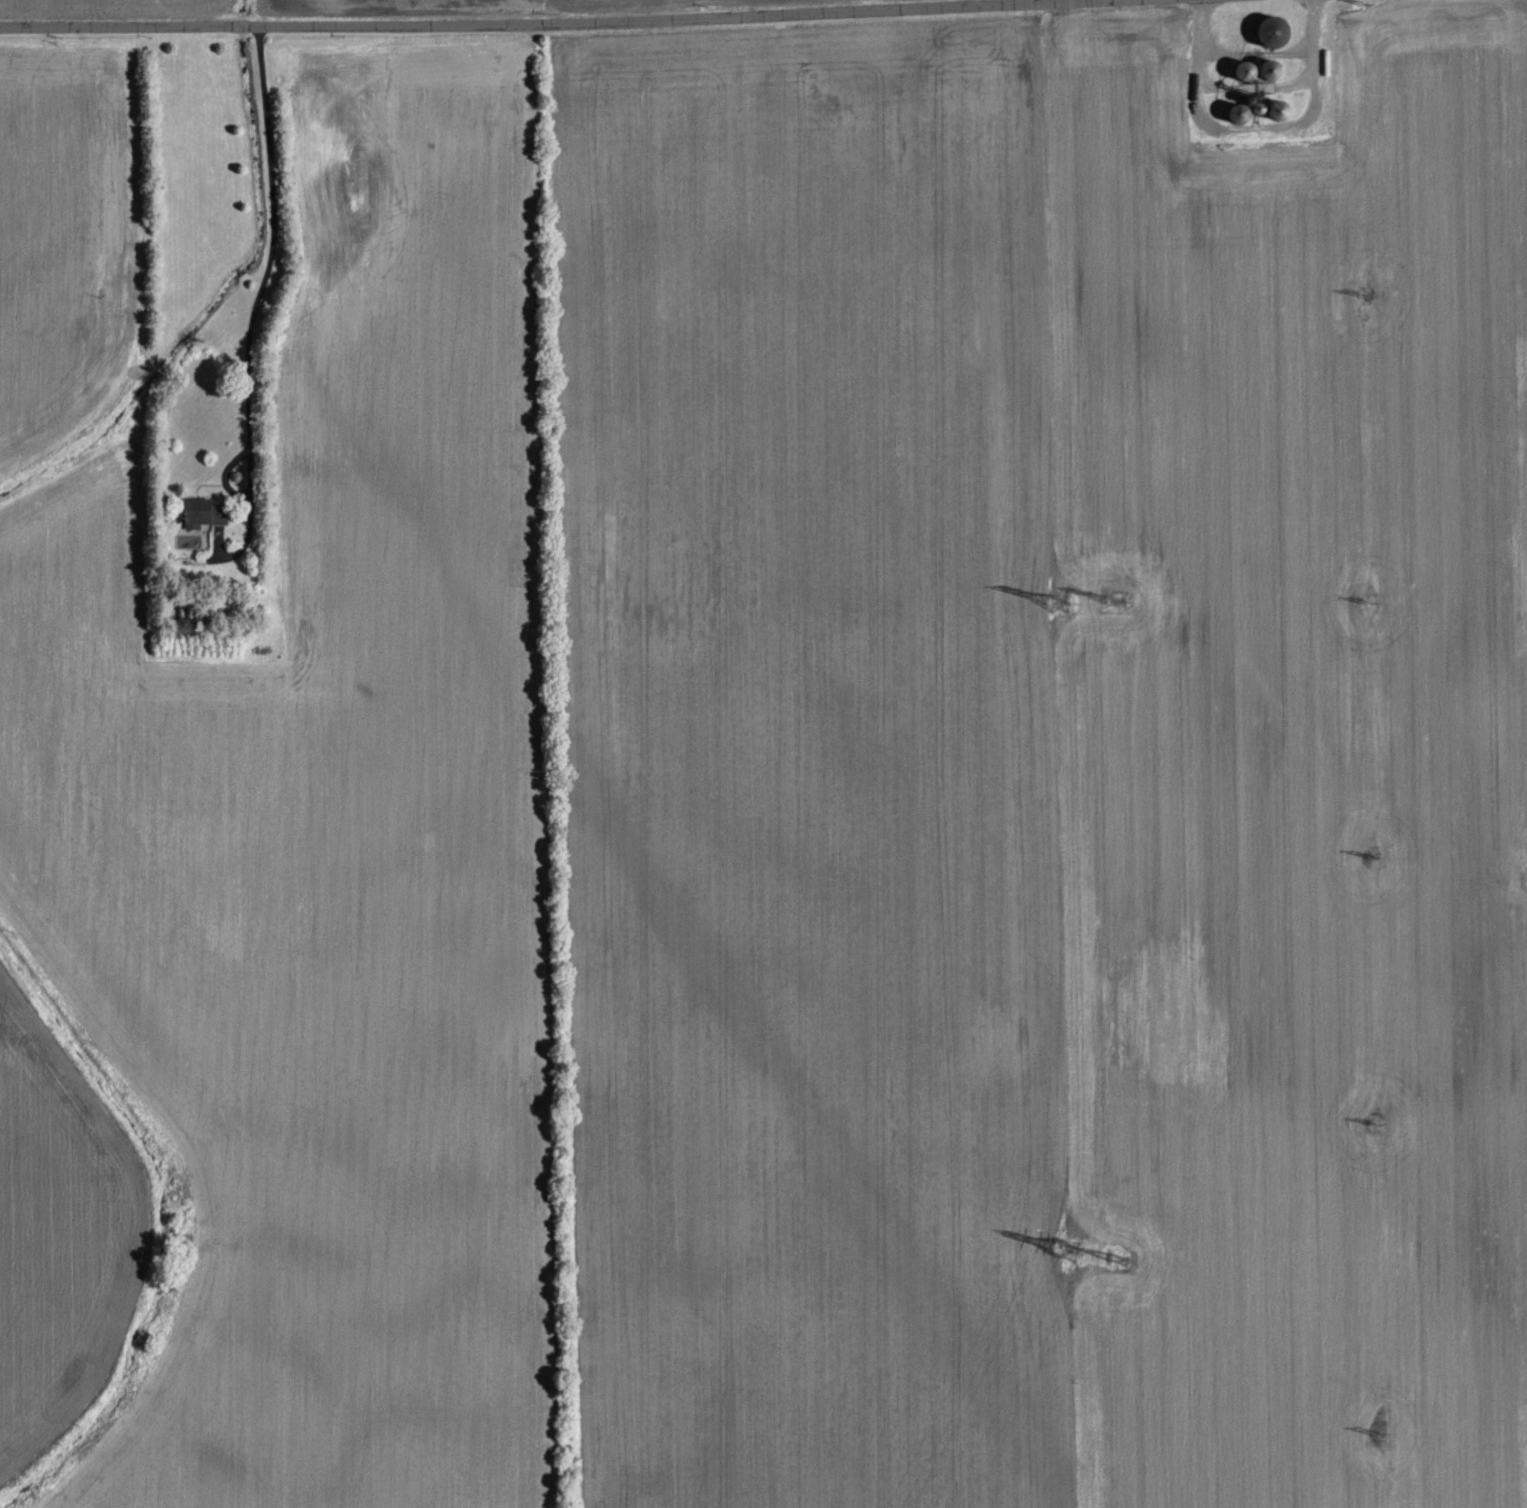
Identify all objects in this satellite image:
road: (552, 22)
road: (1257, 132)
road: (260, 291)
power tower: (1060, 604)
power tower: (1068, 1252)

